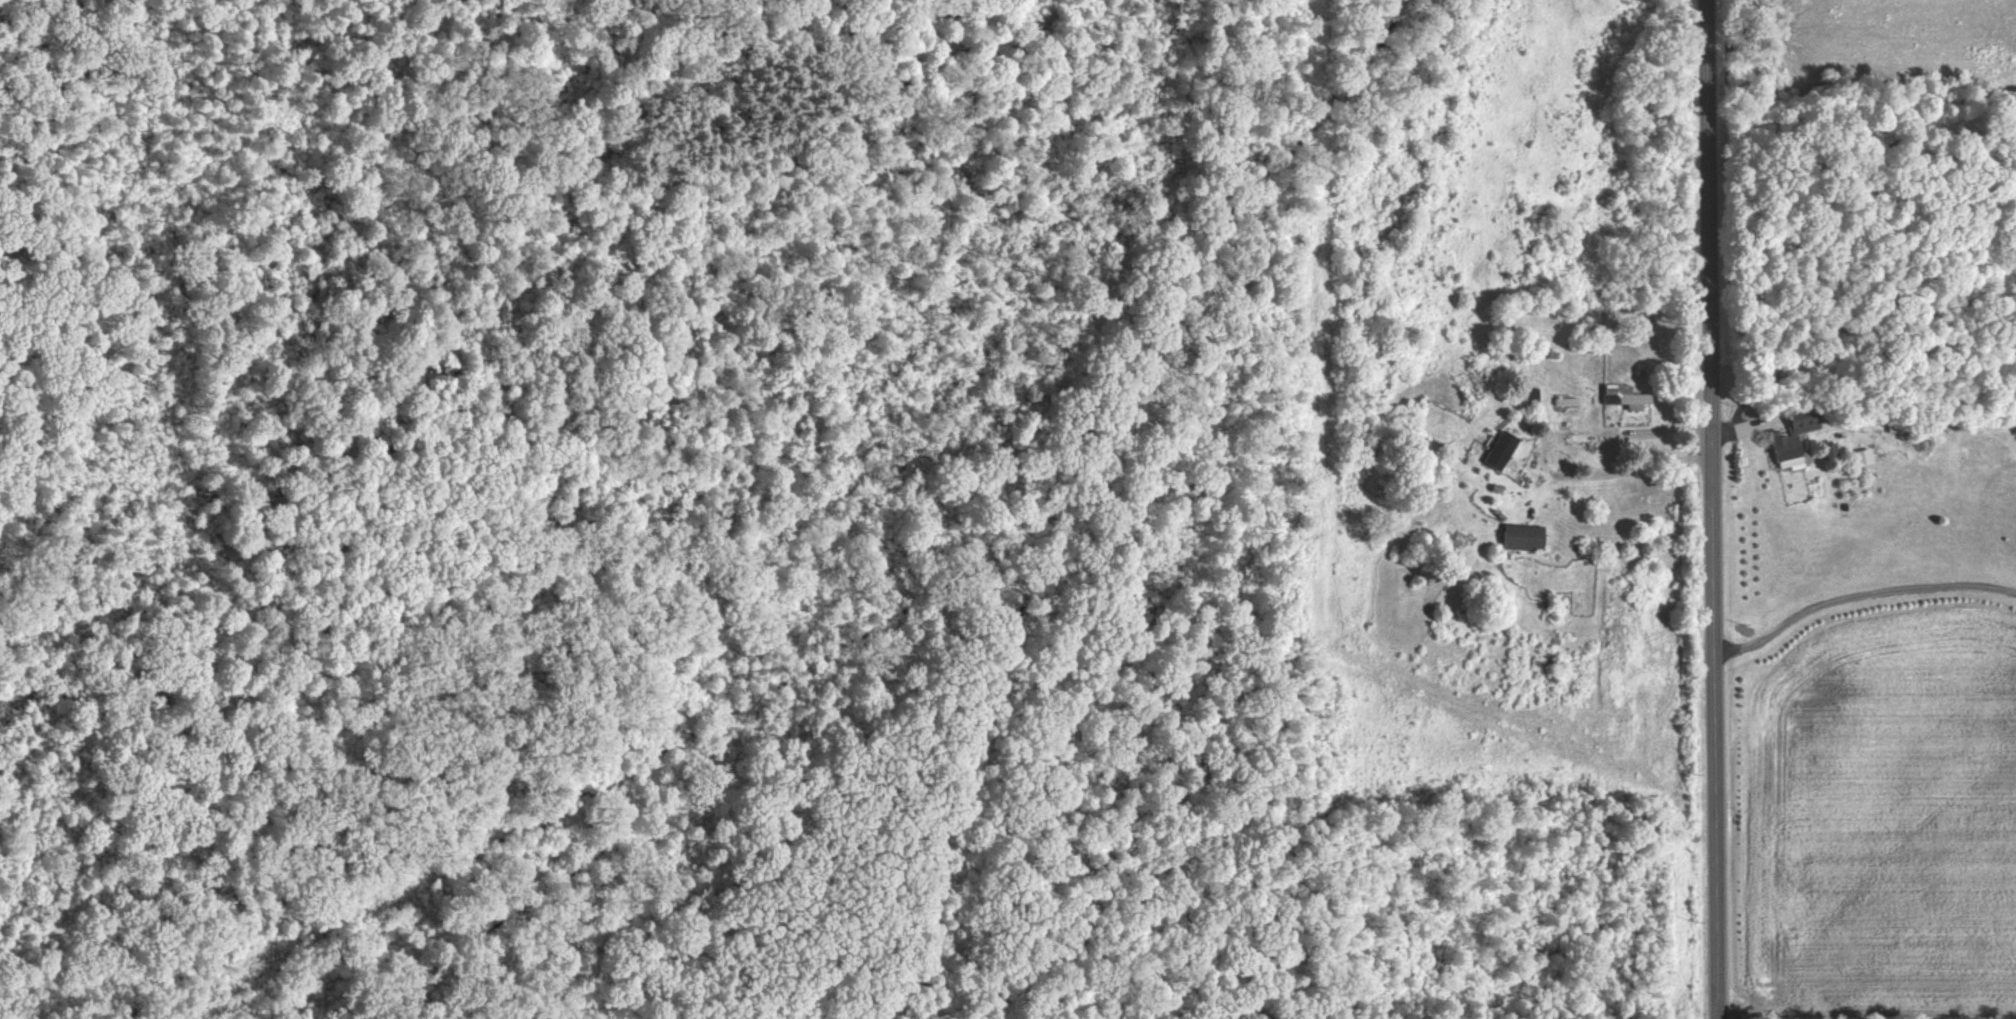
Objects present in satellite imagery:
building: (1627, 395)
building: (1796, 437)
building: (1502, 449)
building: (1834, 449)
building: (1865, 456)
road: (1635, 468)
road: (1710, 509)
building: (1526, 536)

